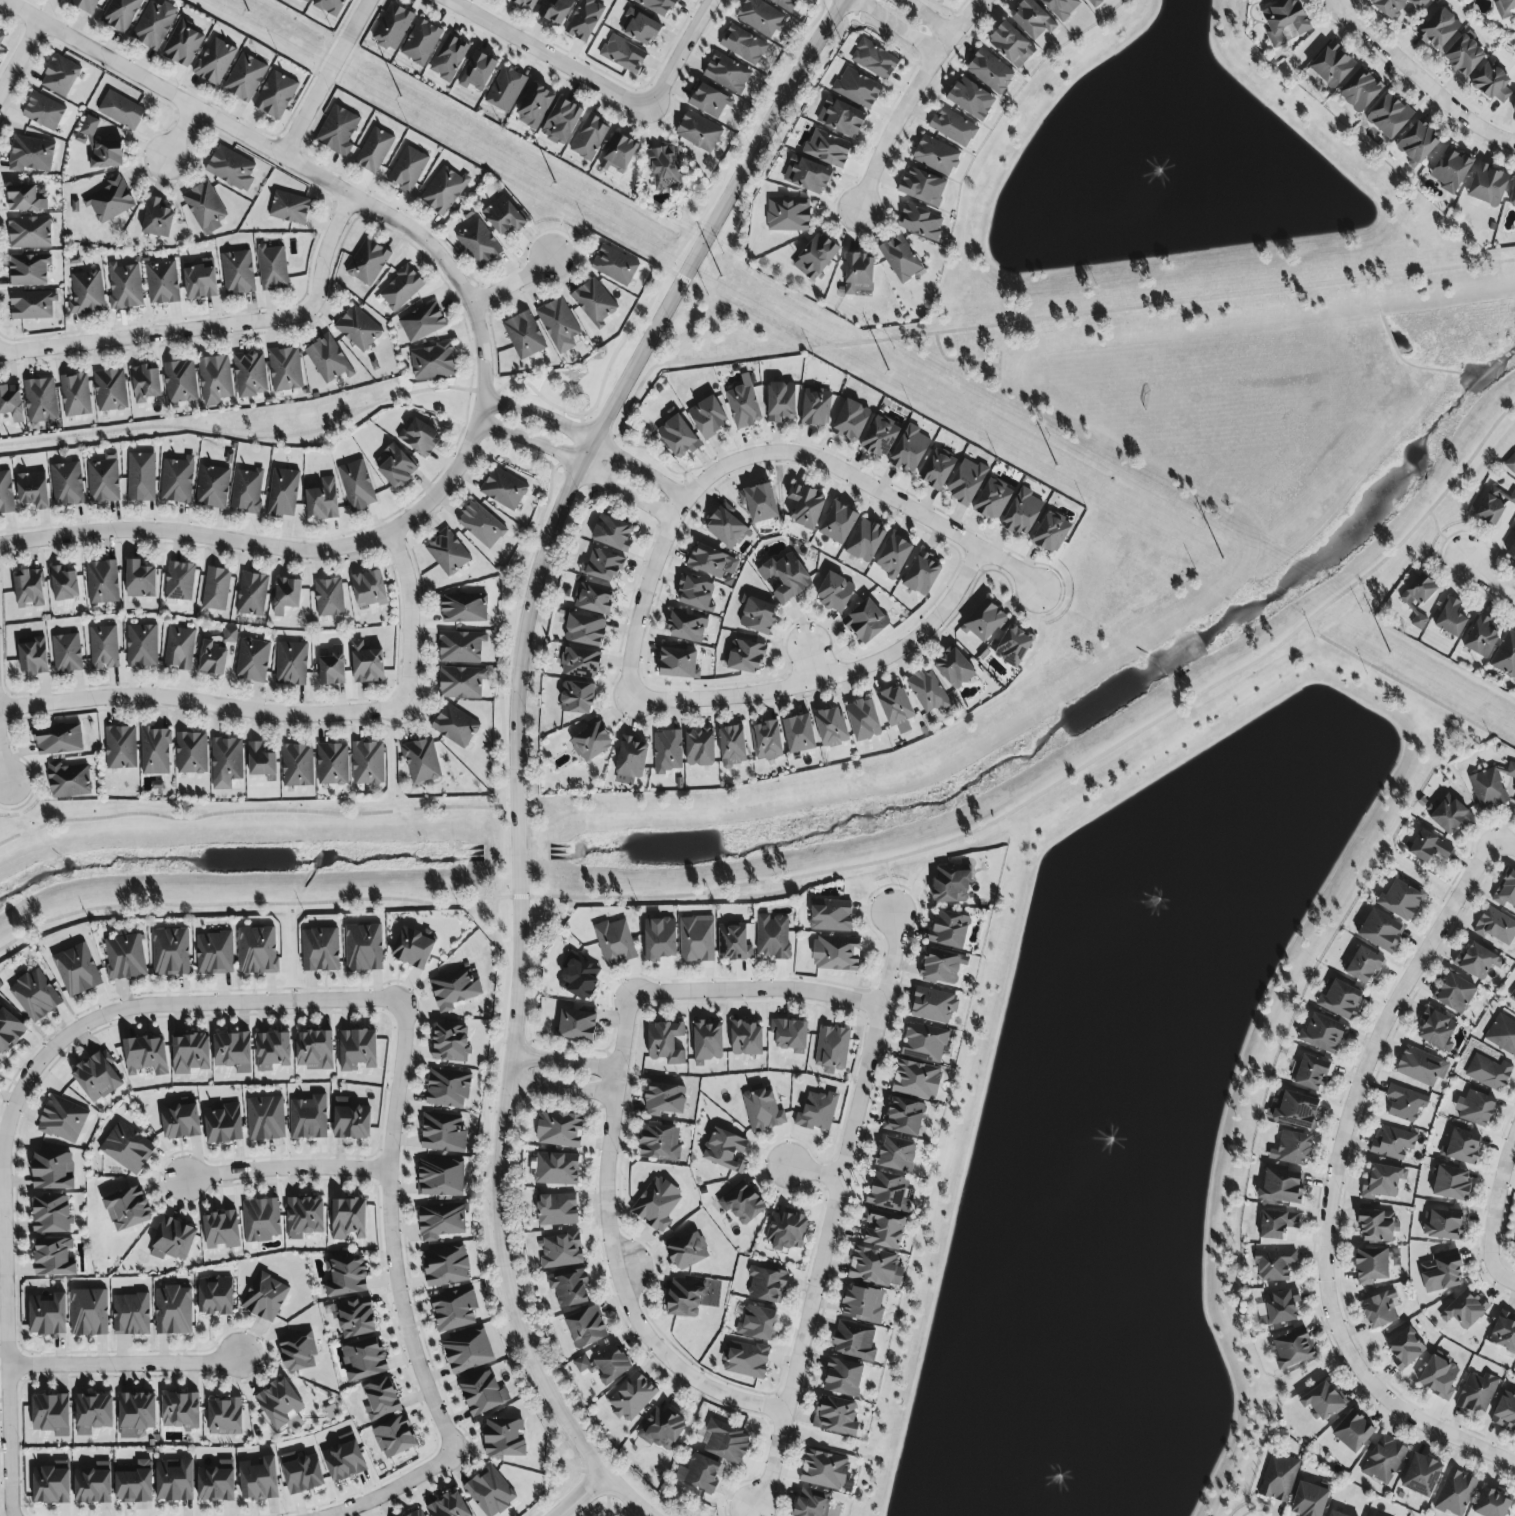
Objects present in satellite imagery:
building: (1093, 3)
building: (526, 4)
building: (784, 4)
building: (85, 5)
building: (329, 6)
building: (657, 6)
building: (1395, 6)
building: (1061, 7)
building: (1504, 8)
building: (555, 11)
building: (120, 14)
road: (928, 16)
building: (760, 17)
building: (1032, 19)
building: (585, 20)
building: (1285, 22)
building: (154, 24)
building: (392, 27)
road: (895, 27)
building: (639, 28)
building: (1438, 29)
building: (1, 36)
building: (420, 42)
building: (182, 44)
building: (743, 45)
building: (1011, 45)
road: (18, 53)
building: (623, 54)
building: (1463, 55)
road: (544, 56)
road: (677, 56)
building: (449, 58)
building: (874, 59)
building: (215, 61)
building: (1331, 65)
building: (478, 71)
building: (990, 71)
building: (727, 73)
building: (60, 76)
building: (245, 77)
road: (321, 77)
road: (1420, 80)
building: (1493, 83)
building: (857, 88)
building: (505, 89)
building: (1359, 91)
building: (275, 95)
road: (907, 97)
building: (971, 99)
building: (709, 100)
building: (534, 106)
building: (1513, 108)
building: (121, 110)
building: (44, 112)
building: (1389, 116)
building: (841, 118)
building: (561, 122)
power tower: (446, 123)
building: (953, 127)
building: (338, 130)
building: (698, 132)
road: (175, 134)
building: (589, 138)
building: (1417, 143)
building: (102, 147)
building: (827, 148)
building: (374, 150)
building: (31, 154)
building: (618, 154)
building: (936, 155)
road: (290, 162)
building: (231, 168)
building: (665, 168)
building: (407, 169)
building: (1451, 170)
building: (806, 175)
fountain: (1158, 178)
building: (1487, 185)
building: (922, 186)
building: (444, 190)
building: (1512, 195)
building: (24, 199)
building: (110, 200)
building: (204, 207)
building: (289, 208)
road: (563, 213)
building: (788, 214)
building: (504, 215)
building: (157, 218)
building: (920, 222)
building: (29, 232)
building: (478, 243)
building: (815, 256)
road: (672, 257)
building: (900, 259)
building: (367, 262)
building: (614, 265)
building: (272, 268)
building: (28, 269)
building: (237, 272)
building: (858, 273)
building: (199, 279)
road: (510, 280)
building: (162, 283)
building: (125, 286)
power tower: (737, 287)
building: (401, 288)
building: (86, 293)
building: (594, 300)
building: (32, 305)
road: (1031, 321)
building: (422, 322)
road: (217, 323)
building: (558, 324)
building: (357, 328)
building: (524, 335)
building: (328, 359)
road: (956, 361)
building: (432, 362)
road: (997, 367)
building: (285, 369)
building: (250, 374)
building: (215, 379)
building: (180, 382)
building: (145, 383)
building: (110, 390)
building: (75, 395)
building: (40, 400)
building: (780, 401)
building: (11, 402)
building: (743, 404)
building: (816, 408)
building: (708, 415)
building: (851, 421)
road: (585, 428)
building: (419, 437)
building: (678, 437)
building: (879, 437)
road: (245, 438)
road: (585, 438)
building: (909, 449)
power tower: (1032, 453)
road: (576, 462)
building: (1510, 463)
building: (397, 467)
building: (936, 469)
building: (141, 477)
building: (103, 479)
building: (177, 480)
building: (966, 482)
building: (66, 484)
building: (356, 485)
building: (212, 487)
building: (32, 489)
building: (503, 489)
building: (246, 491)
building: (282, 493)
building: (6, 494)
building: (1512, 498)
building: (322, 500)
building: (992, 500)
building: (759, 502)
building: (805, 505)
building: (1492, 506)
road: (904, 509)
building: (1022, 512)
building: (838, 523)
building: (481, 525)
building: (726, 529)
building: (612, 533)
building: (1051, 533)
road: (1442, 537)
building: (865, 541)
road: (279, 548)
road: (657, 550)
building: (1512, 551)
building: (447, 552)
building: (893, 556)
building: (712, 562)
building: (602, 565)
building: (921, 574)
building: (785, 578)
building: (140, 580)
building: (179, 581)
road: (1487, 581)
building: (102, 582)
building: (63, 584)
building: (29, 588)
building: (216, 589)
building: (369, 589)
building: (1419, 591)
building: (834, 592)
building: (696, 593)
building: (252, 594)
building: (286, 595)
building: (329, 597)
building: (594, 598)
building: (463, 608)
building: (757, 615)
building: (1451, 618)
road: (409, 621)
building: (866, 621)
building: (984, 621)
power tower: (1327, 621)
building: (687, 626)
building: (584, 630)
building: (230, 635)
building: (1481, 636)
building: (142, 646)
building: (1013, 646)
building: (103, 647)
building: (460, 647)
building: (179, 649)
building: (66, 653)
building: (1505, 656)
building: (33, 657)
building: (744, 657)
building: (212, 658)
building: (252, 660)
road: (808, 660)
building: (291, 663)
building: (366, 663)
building: (580, 663)
building: (678, 663)
building: (332, 667)
building: (953, 668)
road: (827, 676)
building: (461, 682)
road: (1408, 688)
building: (927, 691)
building: (576, 697)
road: (201, 704)
building: (896, 708)
building: (863, 719)
building: (455, 726)
building: (831, 727)
building: (799, 734)
building: (58, 739)
road: (515, 740)
building: (766, 740)
building: (591, 741)
building: (732, 746)
building: (121, 747)
building: (699, 747)
building: (155, 751)
building: (667, 751)
building: (191, 753)
building: (630, 759)
building: (260, 760)
building: (421, 761)
building: (226, 762)
building: (367, 762)
building: (332, 764)
building: (297, 765)
road: (4, 768)
building: (1511, 770)
building: (69, 780)
building: (1487, 788)
road: (247, 812)
building: (1450, 815)
road: (1504, 845)
building: (1427, 847)
road: (832, 872)
building: (951, 884)
fountain: (1203, 886)
road: (890, 887)
building: (1506, 891)
building: (1400, 899)
building: (831, 915)
building: (1496, 927)
building: (949, 929)
building: (1381, 931)
building: (773, 936)
building: (659, 939)
building: (696, 939)
building: (615, 942)
building: (733, 942)
building: (363, 947)
building: (412, 948)
building: (257, 950)
building: (320, 950)
building: (170, 952)
building: (214, 953)
building: (836, 954)
building: (125, 957)
building: (1477, 961)
building: (1363, 965)
building: (941, 967)
building: (76, 970)
road: (504, 977)
building: (579, 977)
building: (455, 988)
road: (753, 990)
building: (1455, 994)
building: (35, 995)
building: (1512, 996)
building: (1339, 999)
building: (933, 1005)
building: (576, 1025)
building: (1436, 1030)
building: (9, 1031)
building: (1323, 1033)
building: (1502, 1034)
building: (790, 1035)
building: (745, 1038)
road: (504, 1041)
building: (707, 1041)
building: (665, 1042)
building: (924, 1042)
building: (450, 1043)
building: (832, 1047)
building: (357, 1049)
building: (272, 1050)
building: (314, 1050)
building: (233, 1051)
building: (190, 1053)
building: (146, 1055)
building: (0, 1061)
road: (563, 1061)
building: (1421, 1067)
building: (1488, 1072)
building: (1311, 1073)
building: (96, 1077)
building: (916, 1079)
building: (447, 1088)
road: (559, 1088)
road: (17, 1099)
building: (664, 1099)
building: (1405, 1103)
building: (1475, 1108)
building: (1294, 1109)
building: (817, 1111)
building: (904, 1117)
building: (265, 1118)
building: (308, 1118)
building: (62, 1119)
building: (351, 1120)
building: (180, 1121)
building: (223, 1124)
building: (559, 1129)
building: (443, 1133)
fountain: (1116, 1139)
building: (659, 1142)
building: (1393, 1144)
building: (1462, 1146)
building: (127, 1148)
building: (1291, 1149)
building: (725, 1151)
building: (896, 1154)
road: (284, 1169)
building: (556, 1169)
building: (53, 1171)
road: (812, 1174)
building: (440, 1177)
road: (1331, 1182)
building: (1382, 1182)
building: (1451, 1183)
building: (1282, 1186)
building: (888, 1192)
building: (656, 1203)
building: (742, 1204)
road: (1497, 1208)
building: (127, 1209)
building: (557, 1209)
road: (830, 1212)
building: (51, 1214)
building: (304, 1217)
building: (347, 1219)
building: (261, 1220)
building: (441, 1221)
building: (1277, 1223)
building: (1377, 1225)
building: (1444, 1225)
building: (883, 1229)
building: (221, 1230)
building: (786, 1230)
road: (390, 1233)
building: (173, 1240)
road: (613, 1247)
building: (560, 1250)
building: (686, 1250)
building: (54, 1257)
building: (1274, 1265)
building: (1372, 1265)
building: (445, 1266)
building: (875, 1267)
building: (1441, 1271)
building: (346, 1276)
road: (1508, 1281)
building: (767, 1284)
building: (569, 1289)
building: (215, 1296)
building: (691, 1296)
building: (265, 1297)
building: (863, 1304)
building: (1276, 1308)
building: (454, 1309)
building: (1379, 1309)
building: (1464, 1309)
building: (173, 1310)
building: (89, 1312)
building: (131, 1314)
building: (47, 1315)
building: (353, 1317)
building: (758, 1323)
building: (586, 1327)
building: (1504, 1332)
building: (854, 1340)
building: (1405, 1348)
building: (1292, 1349)
building: (298, 1351)
building: (468, 1351)
building: (364, 1359)
building: (745, 1360)
building: (604, 1365)
road: (126, 1366)
building: (843, 1377)
building: (1438, 1377)
building: (483, 1393)
building: (1477, 1393)
building: (632, 1397)
building: (380, 1399)
building: (1322, 1401)
building: (279, 1403)
building: (180, 1411)
building: (1505, 1411)
building: (93, 1413)
building: (51, 1414)
building: (136, 1414)
building: (224, 1416)
building: (836, 1416)
building: (661, 1429)
building: (1353, 1431)
building: (394, 1437)
building: (505, 1438)
building: (726, 1441)
building: (344, 1459)
building: (1384, 1460)
building: (824, 1470)
building: (301, 1473)
building: (700, 1473)
building: (1421, 1475)
fountain: (1044, 1476)
building: (1278, 1478)
building: (174, 1480)
building: (258, 1480)
building: (216, 1482)
building: (52, 1483)
building: (134, 1483)
building: (93, 1484)
road: (392, 1486)
building: (490, 1492)
building: (1455, 1493)
road: (581, 1495)
building: (1309, 1500)
building: (811, 1503)
building: (1492, 1503)
building: (448, 1506)
building: (417, 1513)
building: (1335, 1514)

